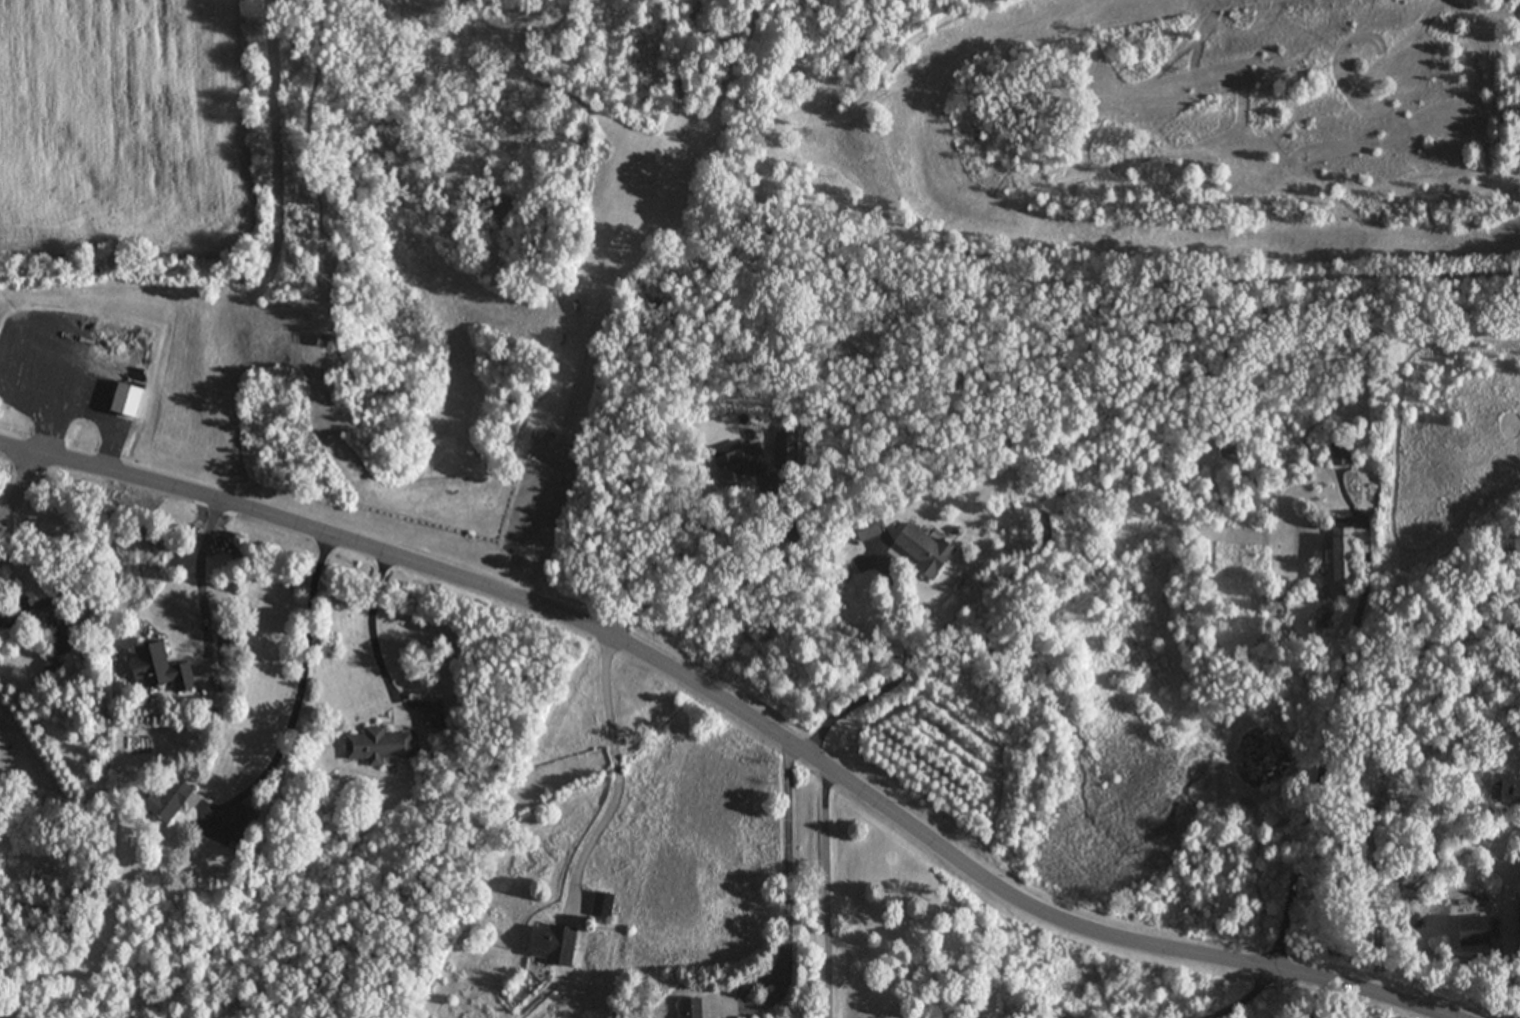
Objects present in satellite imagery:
park: (704, 217)
building: (315, 342)
building: (125, 400)
road: (563, 438)
building: (1340, 454)
building: (739, 464)
road: (23, 504)
building: (864, 530)
building: (922, 551)
building: (1340, 556)
road: (707, 566)
road: (201, 595)
building: (53, 624)
road: (371, 636)
building: (157, 669)
road: (898, 673)
road: (302, 688)
road: (725, 711)
building: (375, 746)
road: (1324, 765)
road: (615, 776)
building: (1504, 788)
building: (162, 800)
building: (243, 825)
road: (787, 876)
road: (824, 896)
building: (599, 905)
building: (1470, 930)
road: (1507, 933)
building: (548, 944)
road: (1233, 1000)
building: (686, 1008)

